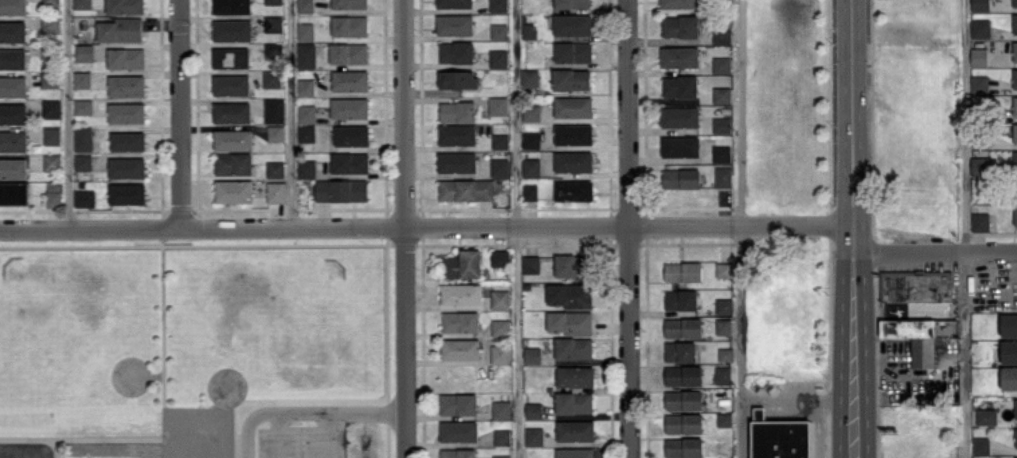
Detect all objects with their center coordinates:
building: (273, 1)
building: (51, 2)
building: (454, 3)
building: (572, 3)
building: (1015, 3)
building: (82, 4)
building: (349, 4)
building: (679, 4)
building: (498, 5)
building: (980, 5)
building: (13, 6)
building: (125, 6)
building: (232, 6)
building: (305, 6)
building: (274, 23)
building: (1015, 23)
building: (51, 24)
building: (455, 24)
building: (573, 24)
building: (350, 25)
building: (680, 26)
building: (980, 28)
building: (121, 29)
building: (232, 30)
building: (499, 30)
building: (529, 30)
building: (12, 31)
building: (305, 31)
building: (722, 34)
building: (1015, 50)
building: (456, 51)
building: (573, 51)
building: (85, 52)
building: (349, 53)
building: (306, 55)
building: (679, 56)
building: (979, 56)
building: (231, 57)
building: (13, 58)
building: (126, 58)
building: (499, 58)
building: (722, 64)
building: (530, 77)
building: (272, 78)
building: (457, 78)
building: (1015, 78)
building: (50, 79)
building: (82, 79)
building: (571, 79)
building: (350, 80)
building: (979, 83)
building: (231, 84)
building: (13, 85)
building: (126, 85)
building: (306, 86)
building: (680, 86)
building: (722, 94)
building: (498, 105)
building: (1015, 105)
building: (83, 106)
building: (573, 106)
building: (350, 107)
building: (51, 108)
building: (274, 110)
building: (457, 111)
building: (126, 112)
building: (232, 112)
building: (531, 112)
building: (13, 113)
building: (307, 113)
road: (288, 114)
road: (71, 115)
road: (179, 115)
building: (680, 117)
building: (722, 124)
building: (306, 132)
building: (276, 133)
building: (1015, 133)
building: (457, 134)
building: (574, 134)
building: (52, 135)
building: (352, 135)
building: (83, 138)
building: (233, 139)
building: (531, 139)
building: (13, 140)
building: (127, 141)
building: (500, 141)
building: (680, 146)
building: (722, 153)
building: (1015, 159)
building: (573, 161)
building: (52, 162)
building: (83, 162)
building: (350, 162)
building: (457, 162)
building: (233, 163)
building: (979, 165)
building: (531, 166)
building: (127, 167)
building: (500, 167)
building: (13, 168)
building: (306, 168)
building: (275, 169)
building: (724, 176)
building: (682, 178)
building: (466, 189)
building: (341, 190)
building: (573, 190)
building: (234, 191)
building: (276, 191)
building: (530, 192)
building: (14, 193)
building: (53, 193)
building: (127, 193)
building: (84, 197)
road: (738, 200)
building: (1015, 215)
building: (980, 221)
road: (426, 228)
road: (518, 228)
road: (405, 229)
road: (629, 229)
road: (852, 229)
road: (965, 229)
road: (934, 254)
building: (500, 257)
building: (463, 264)
building: (531, 264)
building: (570, 265)
building: (724, 269)
building: (683, 271)
building: (916, 286)
road: (1014, 289)
building: (461, 294)
building: (570, 294)
building: (500, 299)
building: (681, 299)
building: (724, 305)
building: (461, 321)
building: (570, 322)
building: (1009, 324)
building: (500, 326)
building: (723, 326)
building: (683, 327)
building: (920, 336)
building: (573, 347)
building: (461, 349)
building: (680, 351)
building: (1009, 351)
building: (500, 354)
building: (532, 354)
building: (725, 354)
road: (888, 355)
building: (723, 374)
building: (683, 375)
building: (575, 376)
building: (1009, 377)
building: (684, 399)
road: (797, 400)
building: (573, 402)
building: (458, 403)
building: (1016, 408)
building: (501, 409)
building: (534, 410)
road: (306, 411)
building: (986, 416)
building: (724, 419)
building: (684, 422)
road: (741, 429)
road: (817, 429)
building: (459, 430)
building: (575, 430)
road: (276, 434)
road: (325, 434)
building: (502, 436)
building: (534, 436)
building: (781, 436)
building: (1016, 437)
building: (981, 445)
building: (684, 447)
road: (21, 450)
building: (575, 452)
building: (458, 453)
road: (43, 454)
building: (1016, 457)

